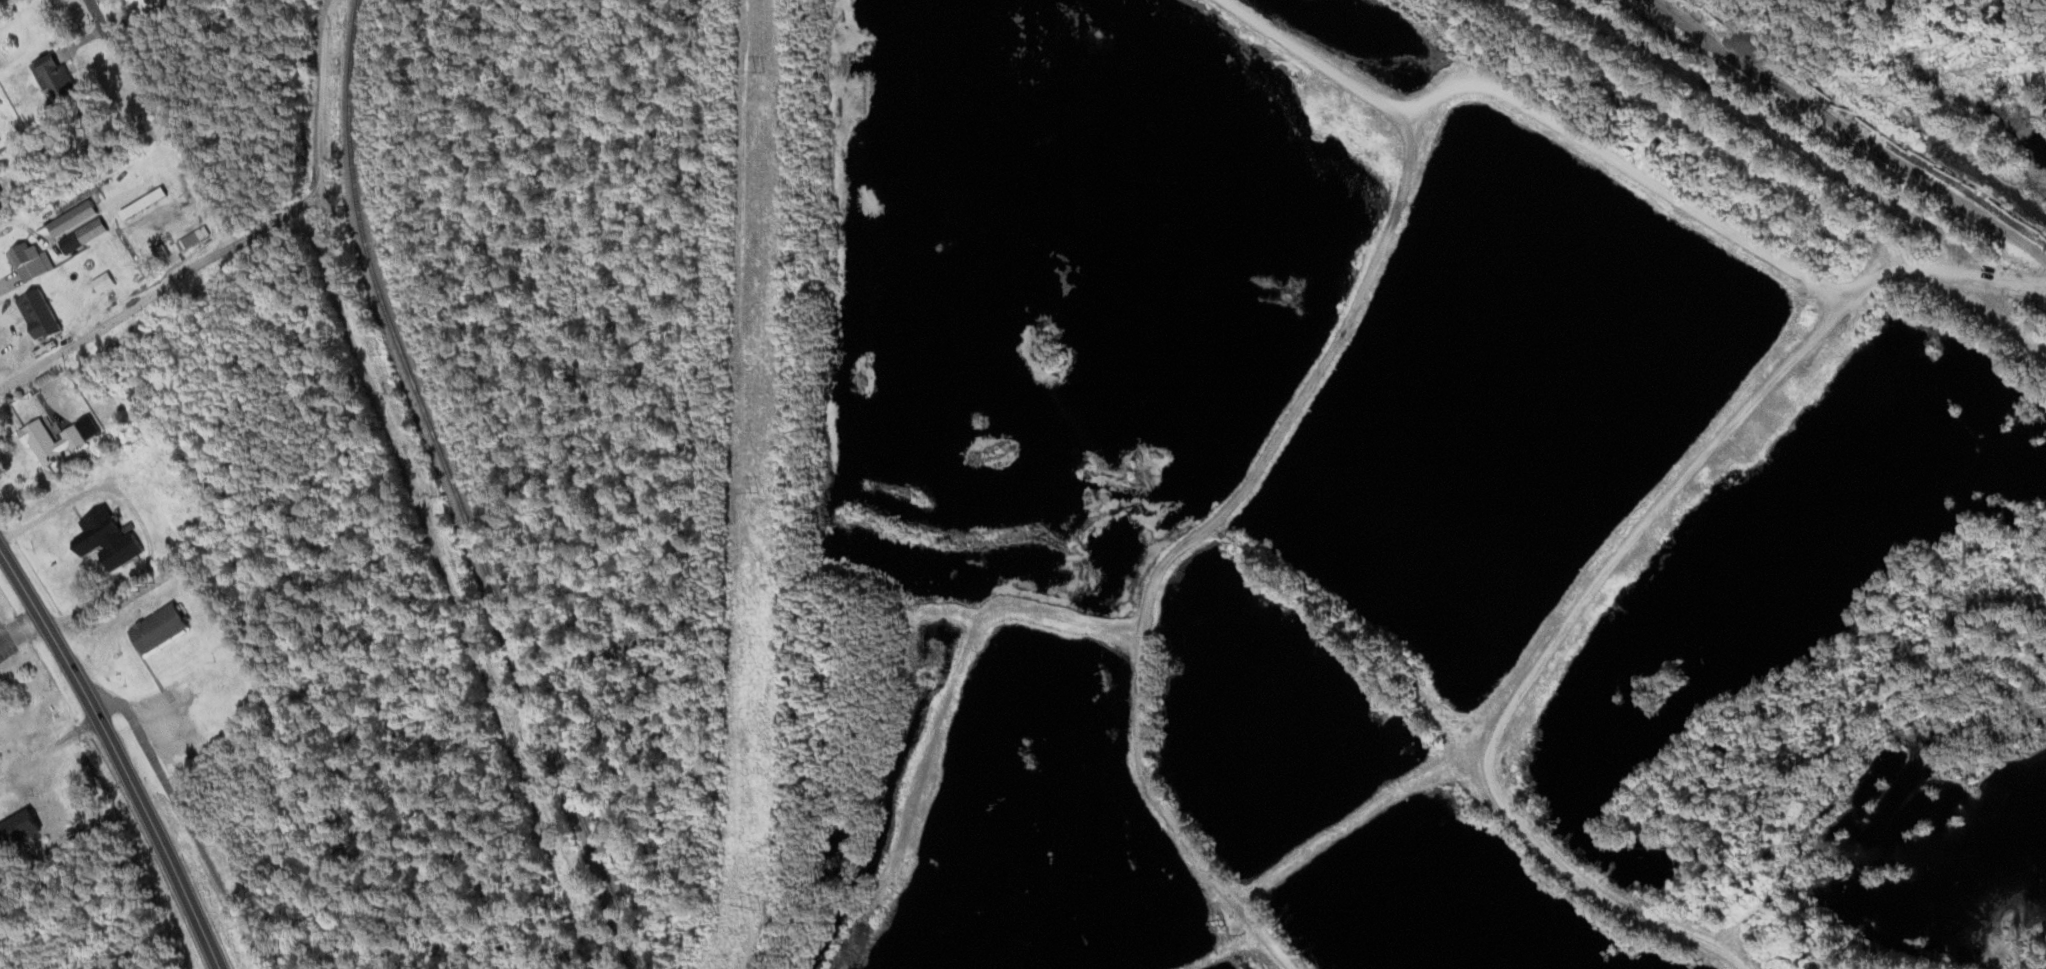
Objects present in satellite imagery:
road: (98, 18)
power tower: (760, 71)
building: (56, 78)
road: (1542, 119)
building: (68, 234)
building: (30, 261)
building: (107, 286)
building: (42, 314)
road: (111, 320)
building: (58, 441)
power tower: (754, 489)
railway: (462, 491)
road: (1209, 530)
building: (109, 538)
road: (1608, 568)
building: (161, 629)
road: (122, 754)
power tower: (747, 903)

